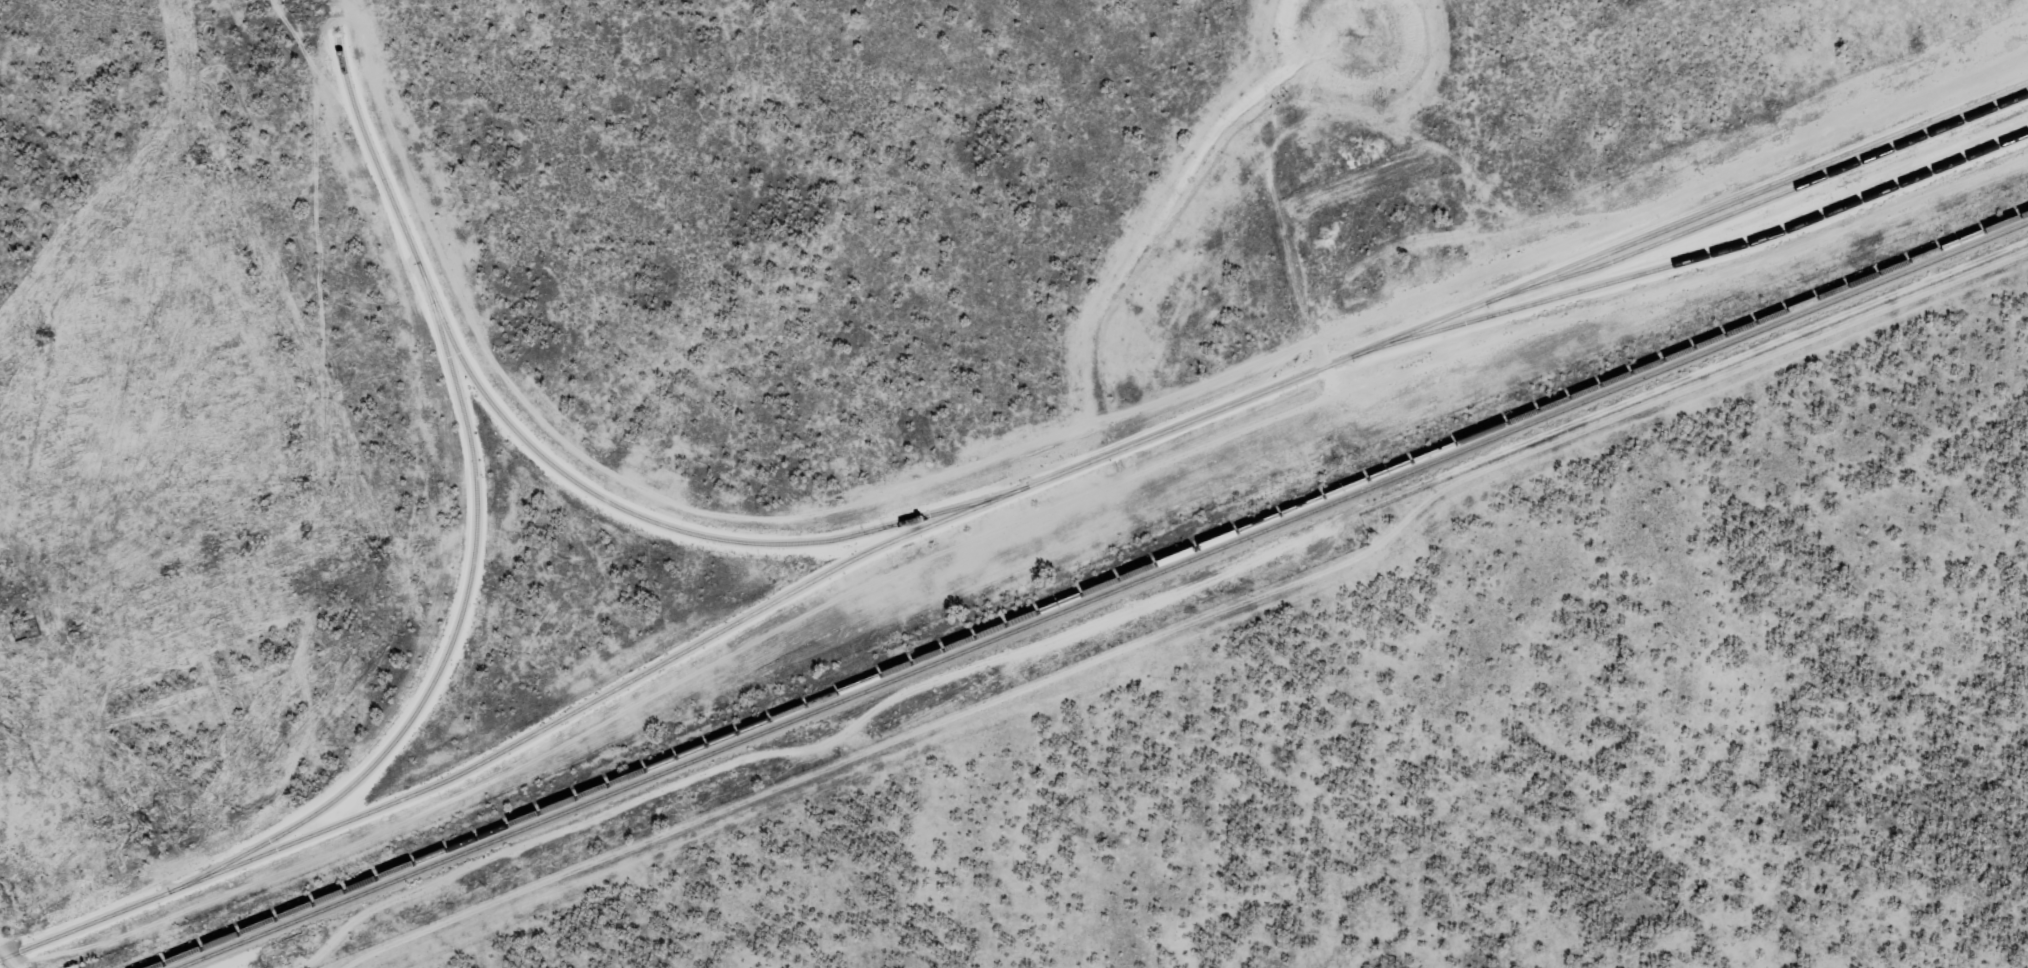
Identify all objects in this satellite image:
railway: (1752, 206)
railway: (1686, 262)
railway: (1001, 495)
railway: (631, 512)
railway: (475, 532)
railway: (1088, 590)
railway: (1102, 594)

